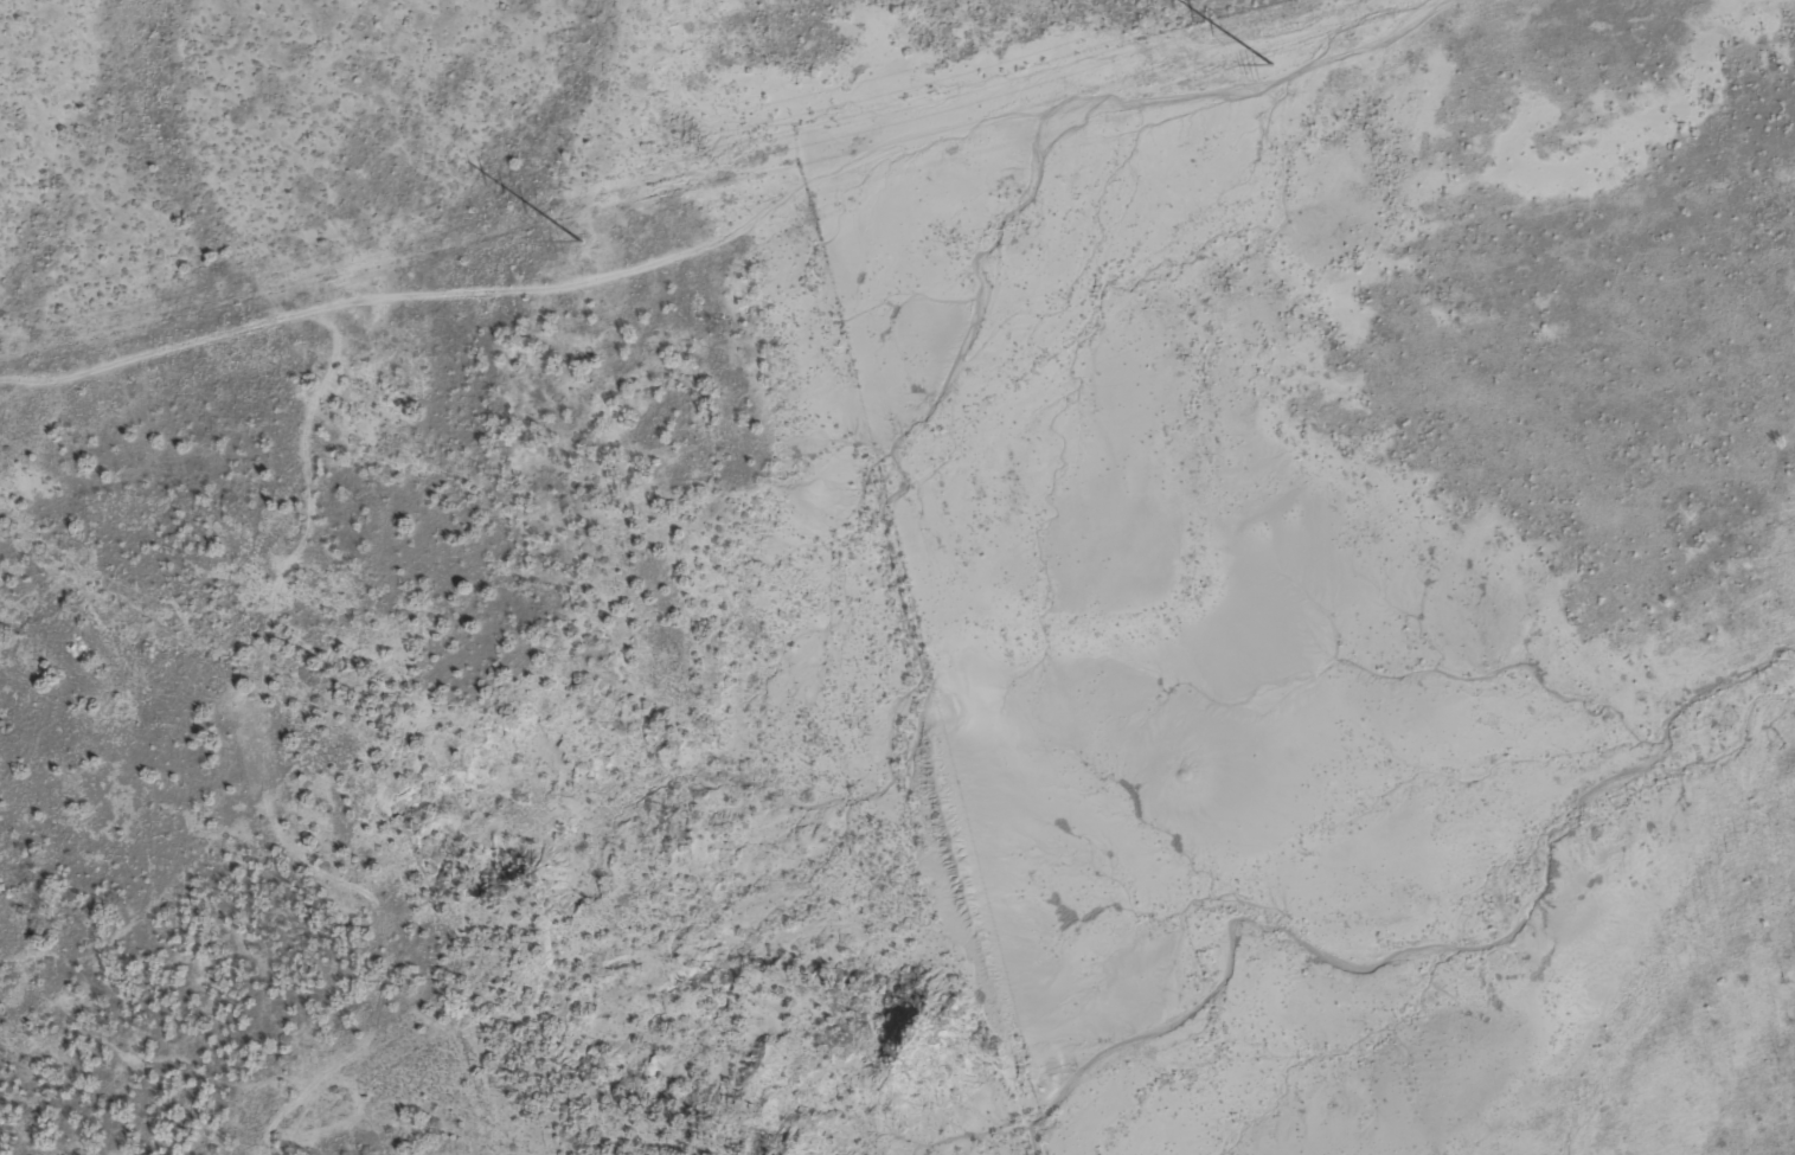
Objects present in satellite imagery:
power tower: (1272, 64)
power tower: (583, 242)

